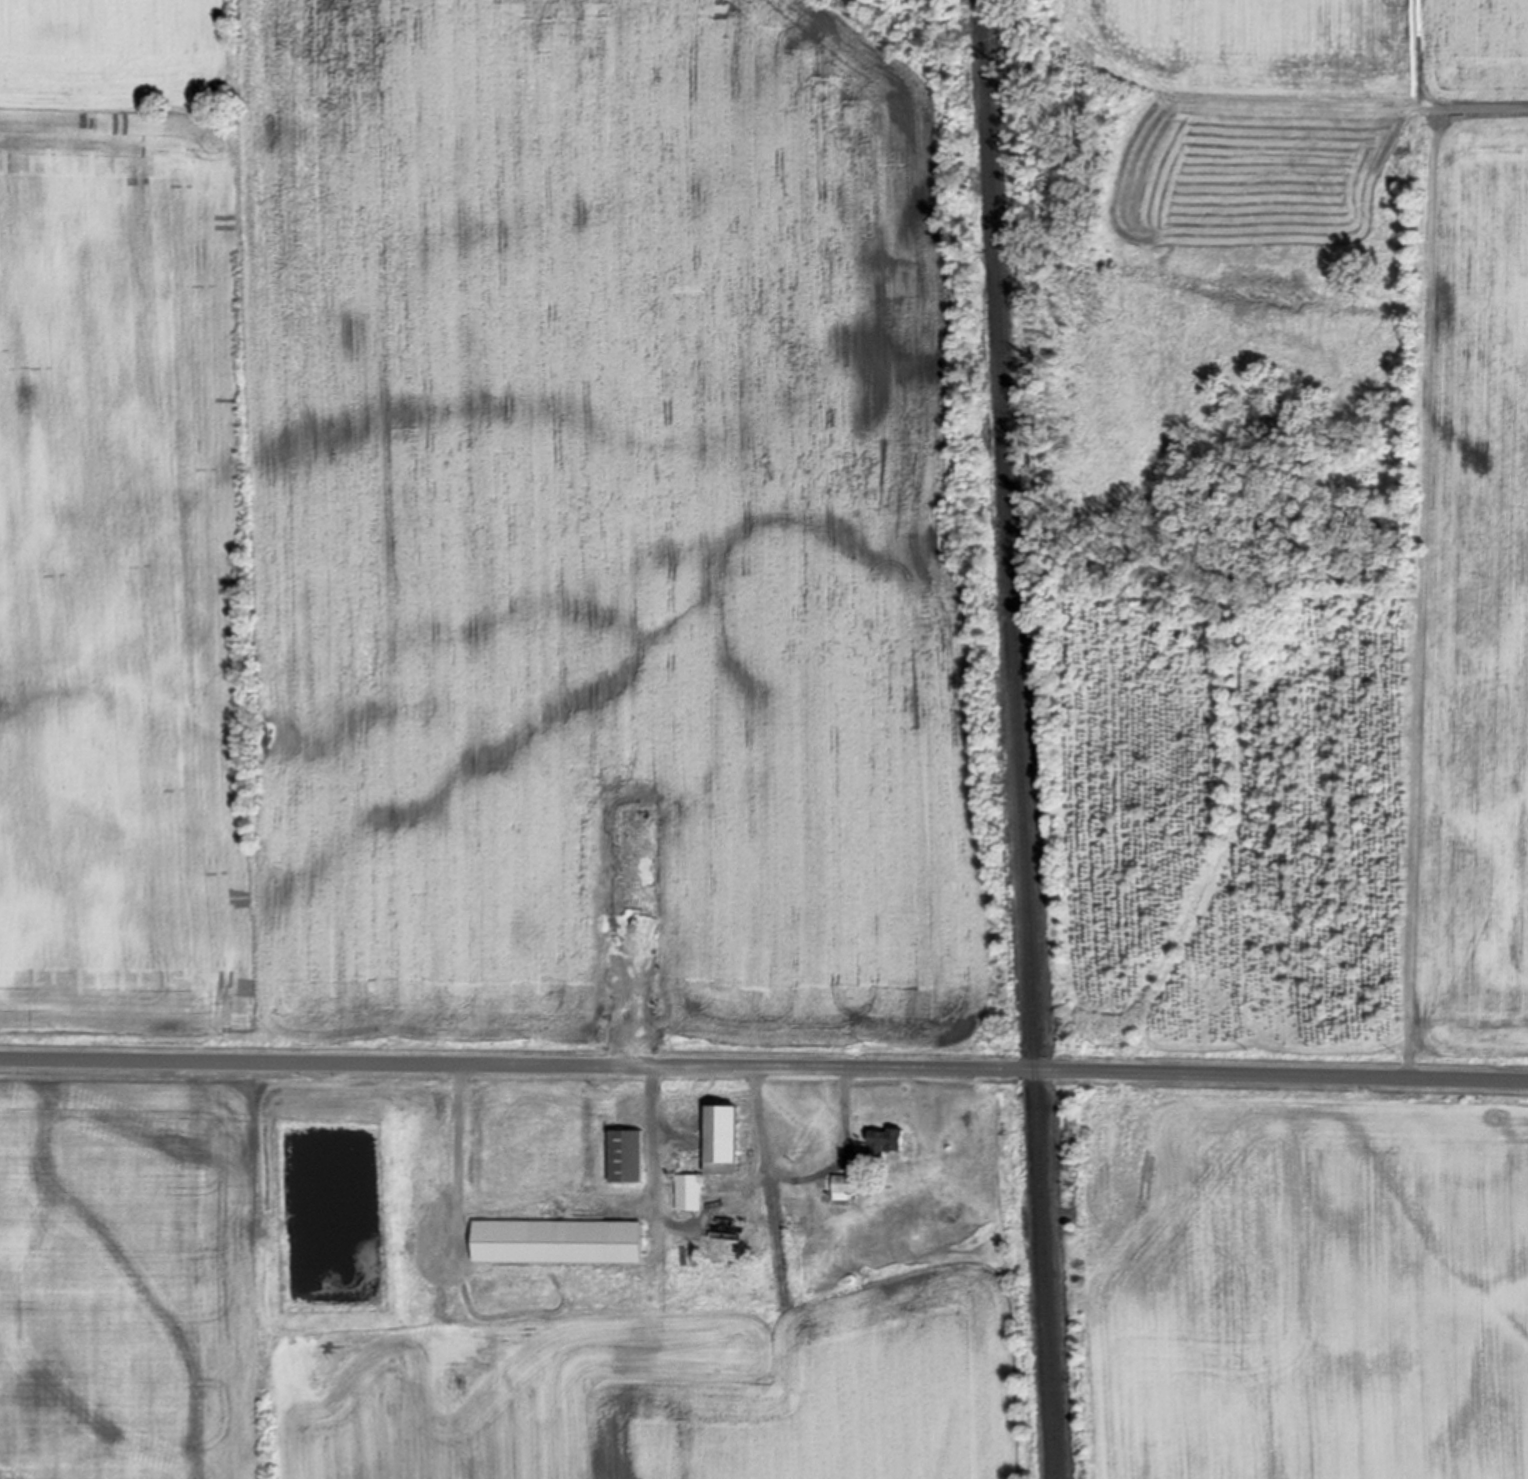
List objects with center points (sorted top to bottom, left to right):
building: (1395, 211)
railway: (1017, 739)
road: (764, 1066)
building: (888, 1142)
building: (628, 1156)
building: (710, 1157)
road: (813, 1169)
building: (850, 1185)
building: (837, 1198)
building: (560, 1241)
building: (715, 1254)

